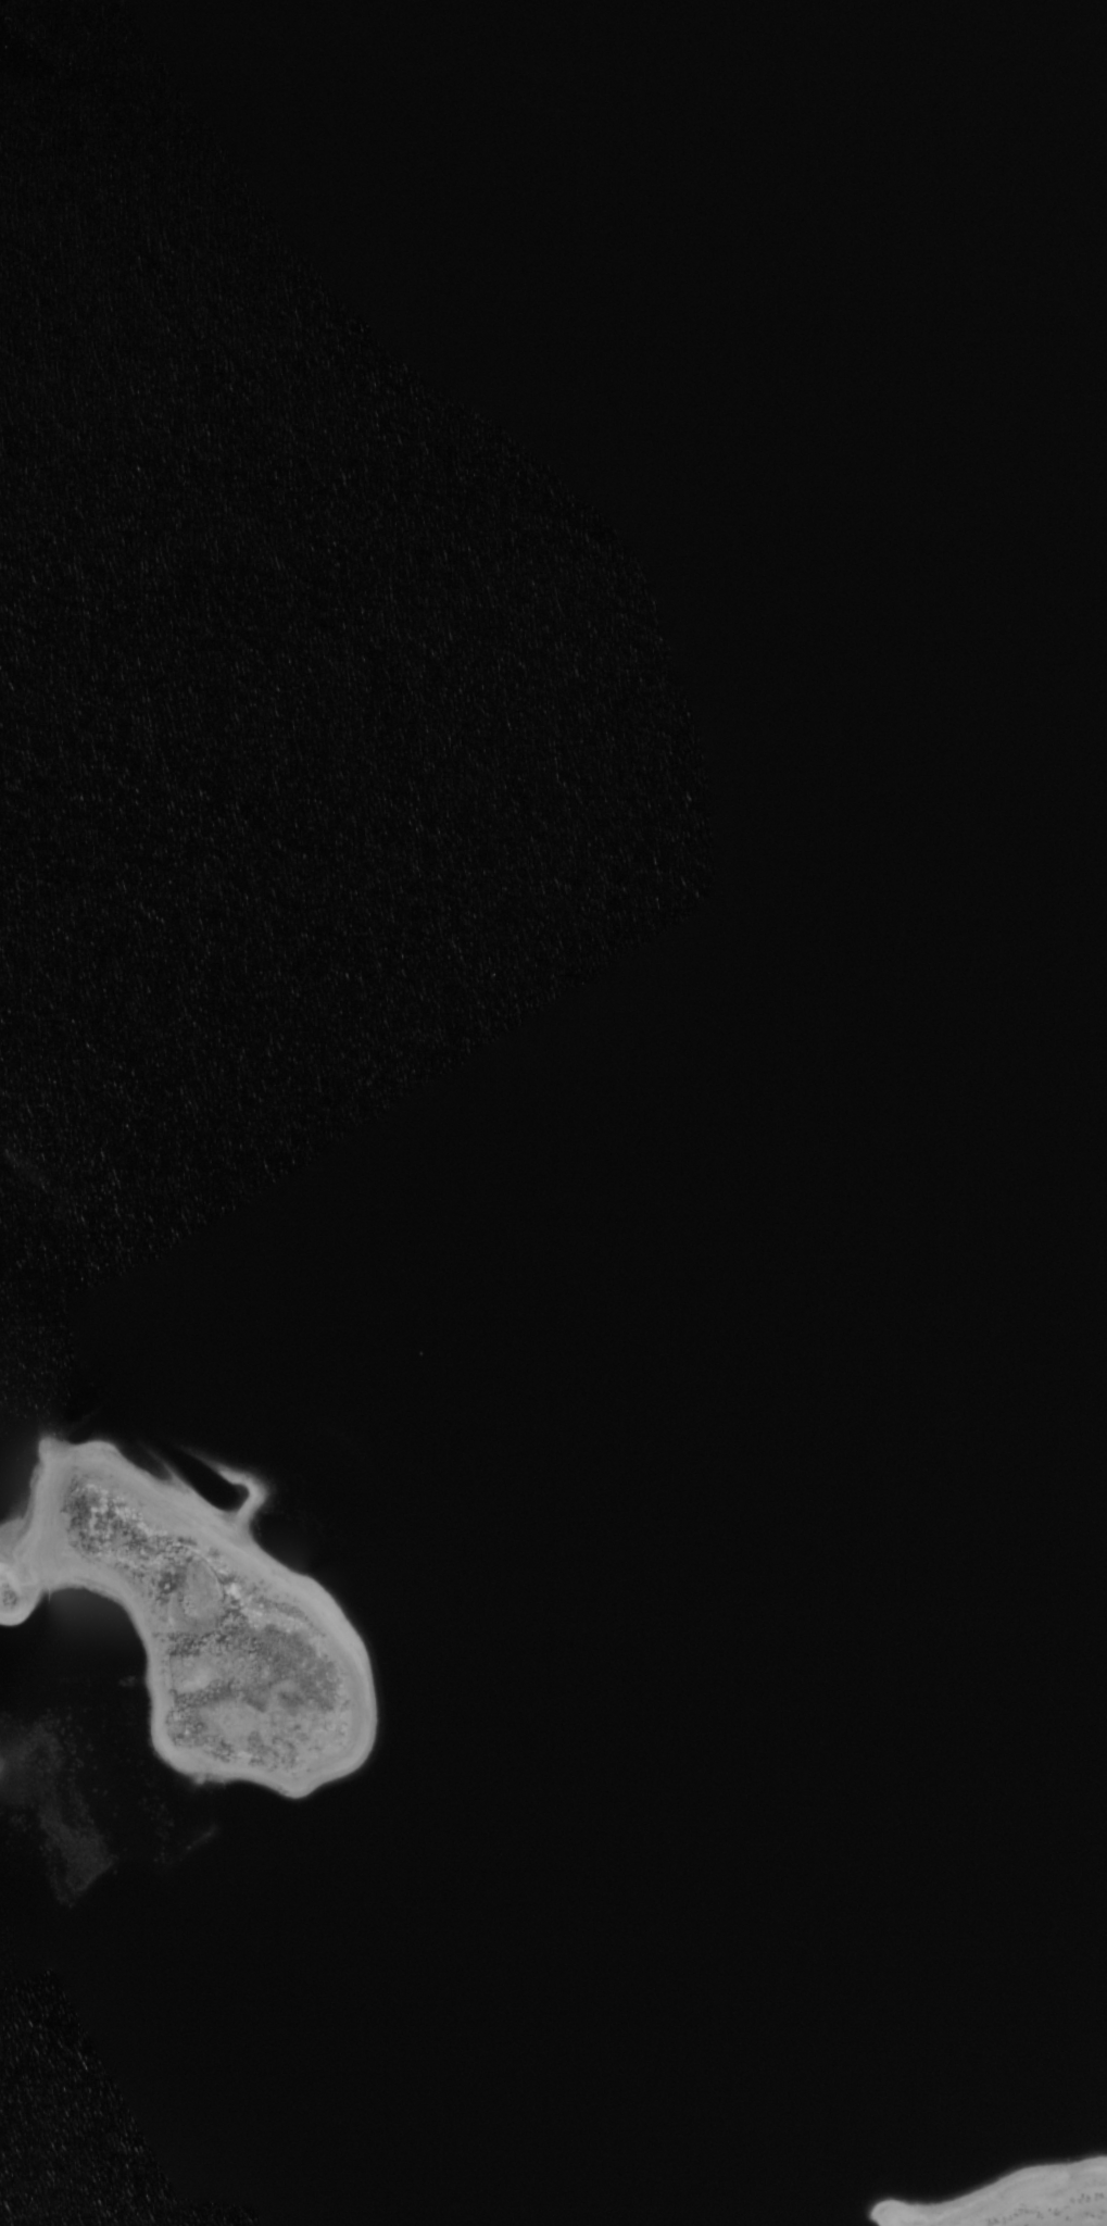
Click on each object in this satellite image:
river: (553, 166)

